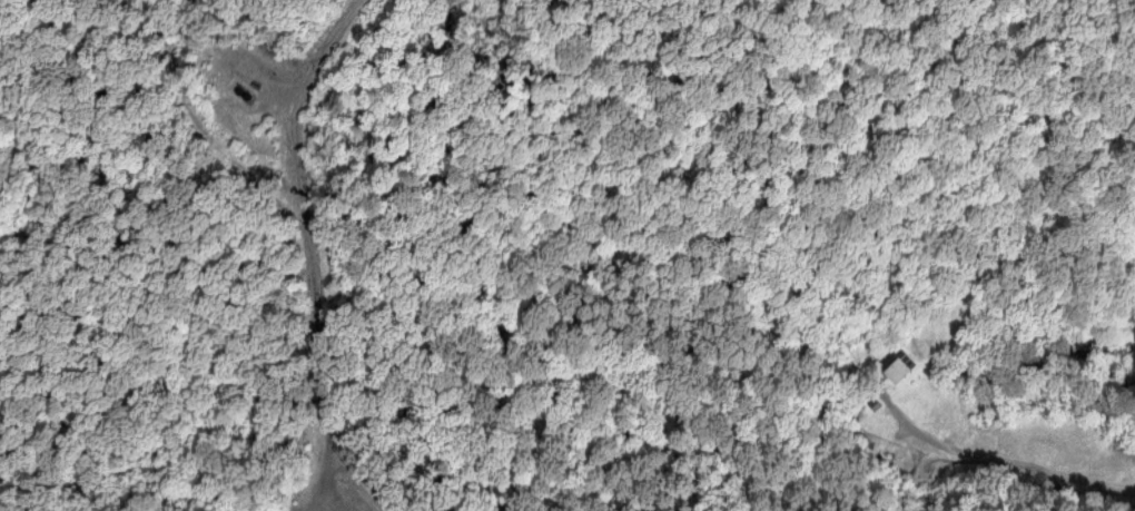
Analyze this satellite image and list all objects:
road: (1016, 468)

